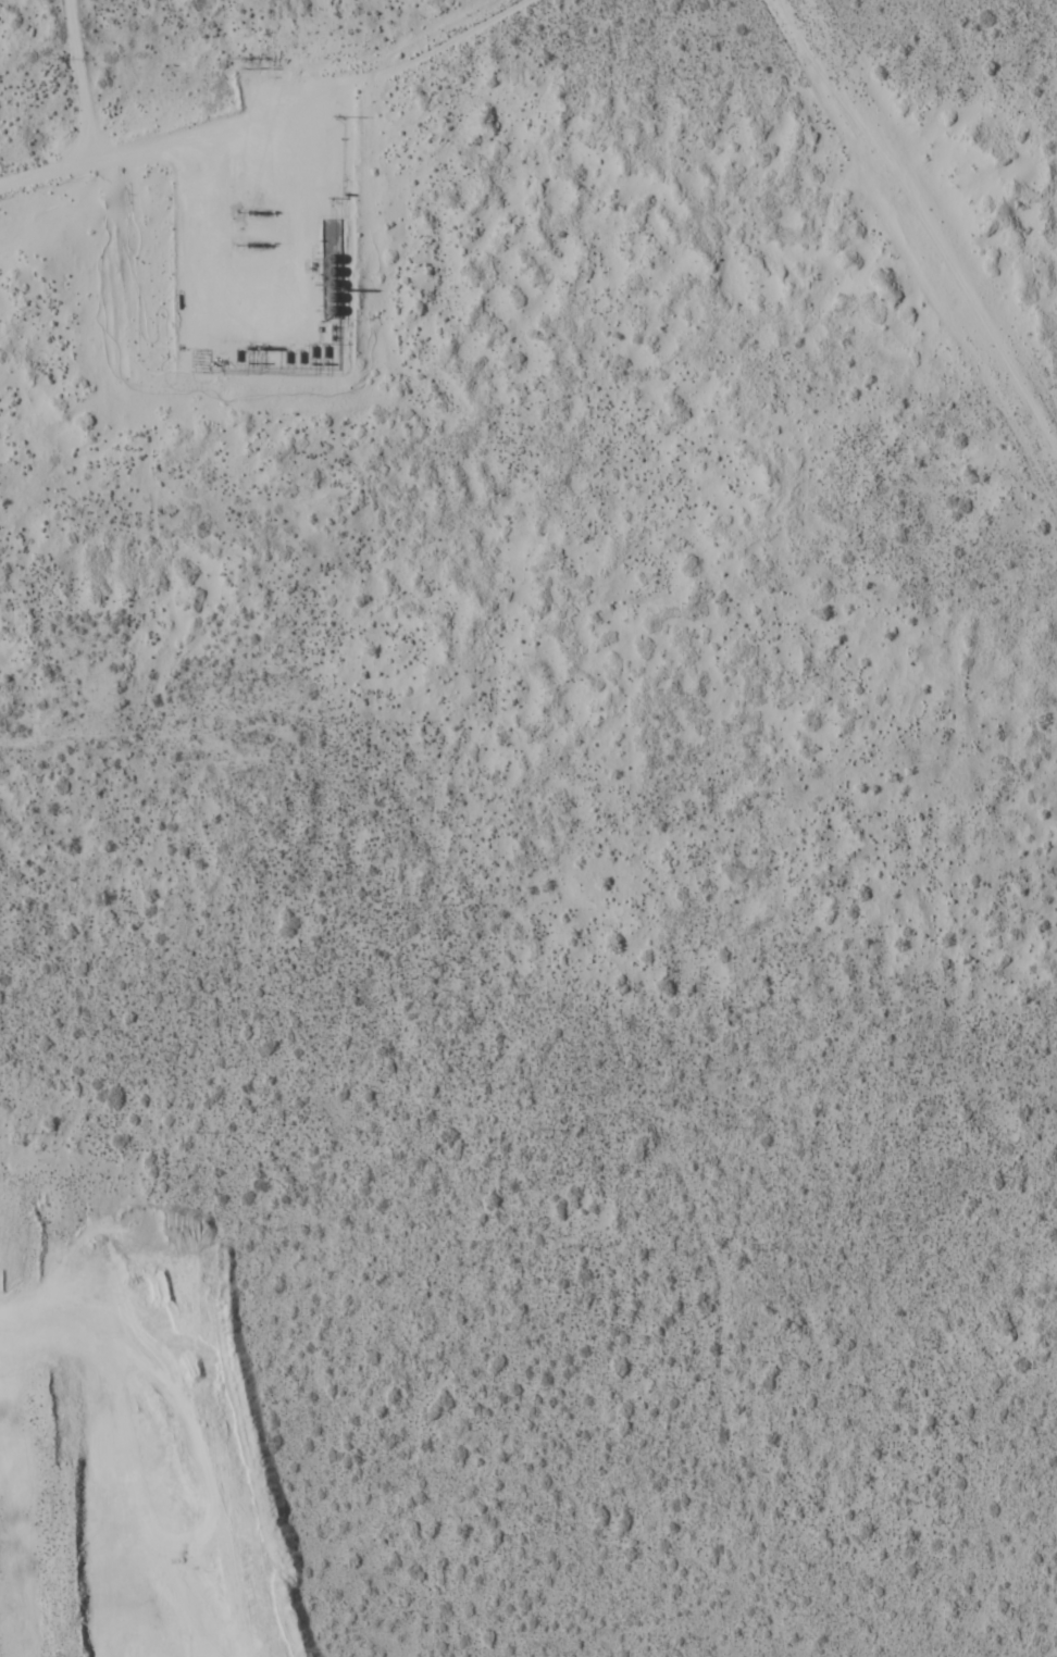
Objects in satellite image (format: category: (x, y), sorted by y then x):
road: (82, 83)
road: (274, 120)
road: (105, 739)

